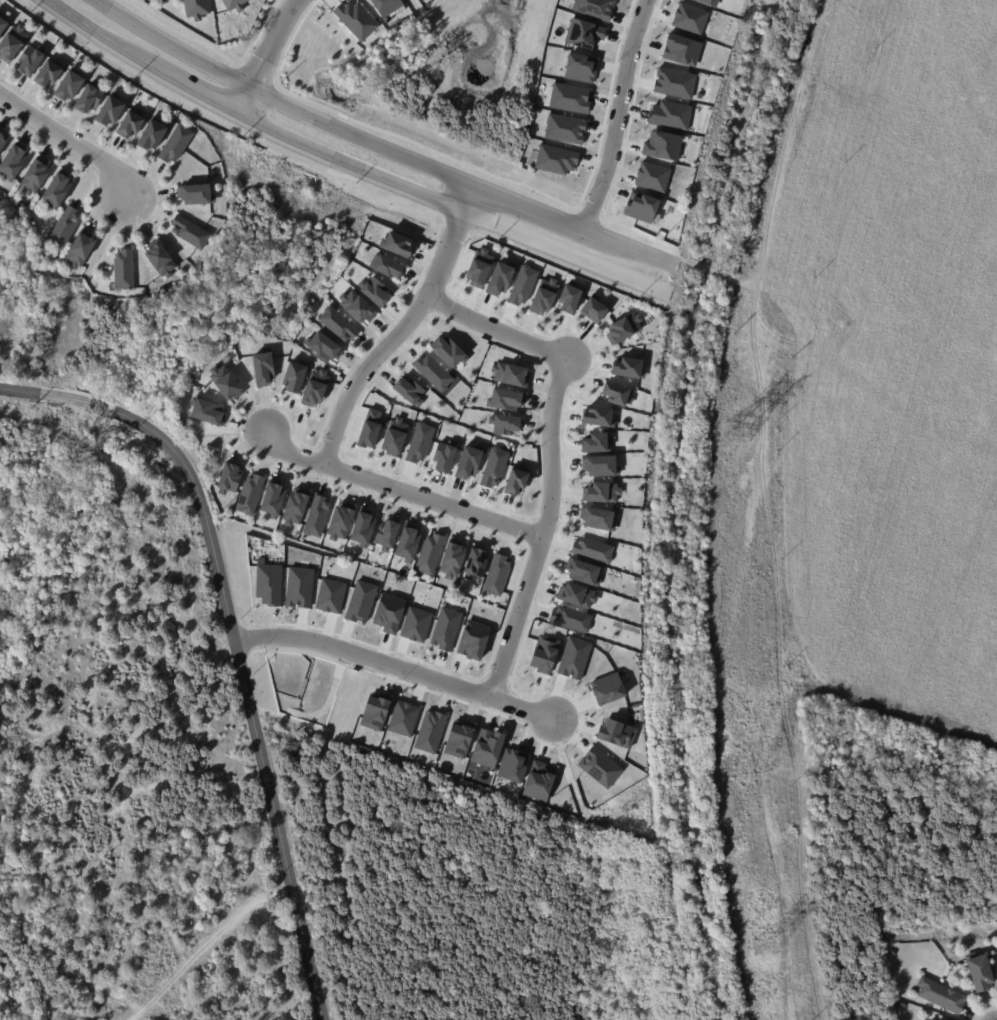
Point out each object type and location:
building: (150, 0)
building: (711, 2)
building: (234, 5)
building: (388, 6)
building: (596, 8)
building: (196, 9)
building: (691, 18)
building: (357, 19)
building: (2, 23)
building: (586, 32)
building: (11, 43)
building: (683, 50)
road: (266, 56)
building: (29, 60)
building: (582, 67)
building: (47, 73)
building: (676, 83)
building: (68, 87)
building: (571, 97)
building: (88, 98)
road: (278, 104)
building: (109, 111)
road: (618, 115)
building: (671, 115)
road: (248, 118)
building: (129, 124)
building: (566, 128)
road: (72, 138)
building: (154, 139)
building: (1, 141)
building: (175, 145)
building: (664, 145)
building: (557, 159)
building: (12, 162)
building: (35, 175)
building: (653, 176)
building: (56, 190)
building: (199, 193)
road: (467, 196)
road: (528, 207)
building: (644, 208)
building: (65, 228)
building: (193, 235)
building: (398, 244)
road: (629, 247)
building: (78, 249)
road: (564, 250)
building: (387, 265)
building: (166, 266)
building: (480, 267)
building: (123, 269)
building: (502, 277)
building: (524, 285)
building: (375, 290)
building: (545, 296)
building: (572, 297)
building: (357, 306)
building: (596, 309)
building: (339, 324)
building: (624, 327)
road: (392, 336)
building: (325, 345)
building: (451, 351)
building: (628, 366)
building: (264, 368)
road: (562, 370)
building: (434, 372)
building: (512, 374)
building: (297, 375)
building: (227, 381)
building: (316, 387)
building: (411, 389)
road: (28, 391)
building: (619, 393)
building: (507, 399)
road: (82, 401)
building: (209, 411)
building: (601, 416)
building: (506, 423)
building: (371, 429)
power tower: (741, 431)
building: (396, 436)
building: (421, 441)
building: (599, 442)
building: (446, 456)
building: (471, 461)
building: (601, 465)
building: (495, 467)
building: (230, 478)
building: (518, 481)
road: (400, 489)
building: (603, 492)
building: (250, 493)
building: (274, 499)
building: (297, 507)
building: (317, 516)
building: (601, 518)
building: (341, 522)
building: (365, 528)
building: (388, 534)
building: (409, 544)
building: (594, 549)
building: (430, 553)
building: (454, 559)
building: (476, 563)
building: (585, 571)
building: (497, 574)
building: (269, 584)
building: (300, 587)
building: (578, 594)
building: (331, 596)
building: (362, 601)
building: (390, 613)
road: (515, 616)
building: (572, 618)
building: (417, 624)
building: (447, 628)
building: (475, 640)
building: (546, 653)
building: (575, 657)
road: (394, 665)
building: (609, 688)
road: (244, 694)
building: (375, 711)
building: (404, 718)
building: (431, 732)
building: (617, 733)
building: (460, 739)
building: (489, 747)
building: (514, 765)
building: (601, 767)
building: (540, 781)
road: (204, 946)
power tower: (764, 946)
building: (996, 954)
building: (978, 972)
building: (940, 995)
building: (902, 1006)
building: (937, 1019)

